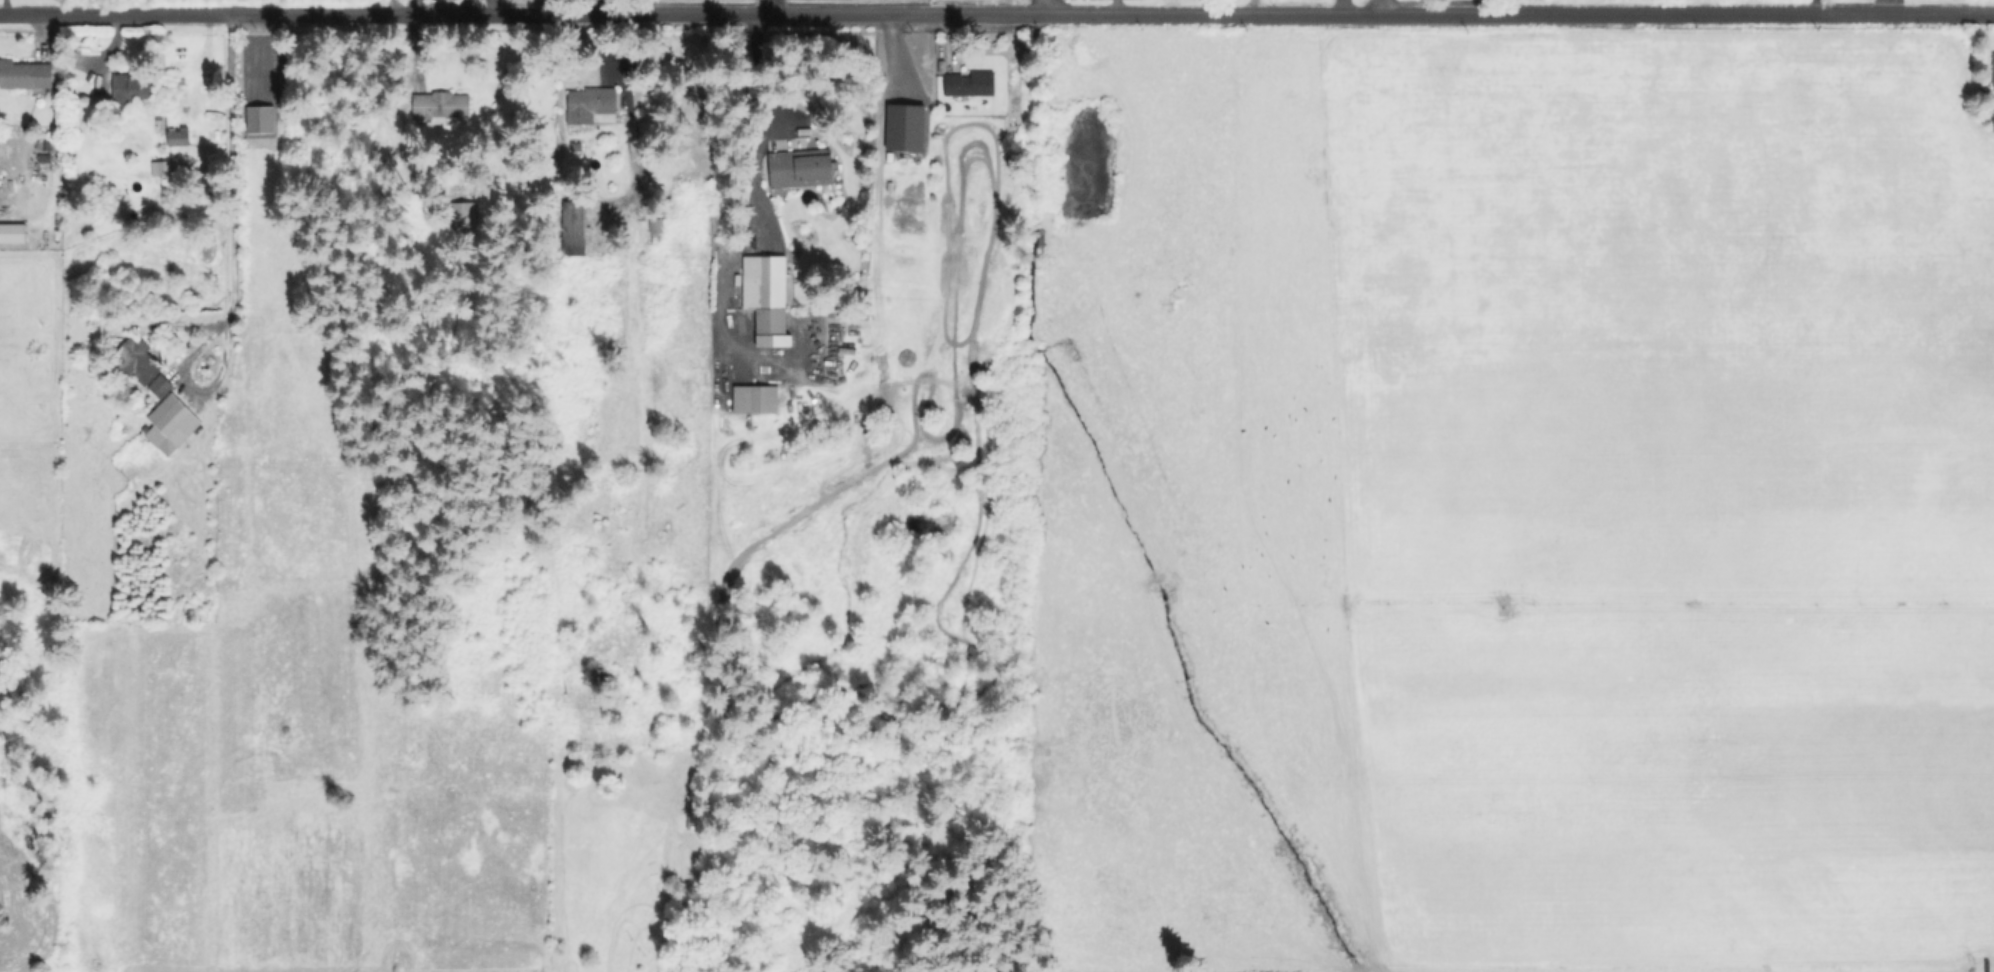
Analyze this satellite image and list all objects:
road: (390, 6)
road: (608, 6)
road: (755, 6)
road: (1029, 6)
road: (1814, 6)
road: (1884, 6)
road: (1253, 7)
road: (1386, 7)
road: (997, 13)
building: (189, 65)
building: (1993, 65)
building: (26, 74)
building: (973, 85)
building: (138, 88)
building: (442, 106)
building: (591, 106)
building: (190, 110)
building: (263, 119)
building: (1992, 120)
building: (903, 126)
building: (178, 135)
building: (163, 168)
building: (801, 168)
building: (466, 213)
building: (574, 228)
building: (654, 229)
road: (231, 253)
building: (766, 292)
building: (137, 362)
building: (160, 385)
building: (756, 400)
building: (172, 424)
crop: (1504, 504)

